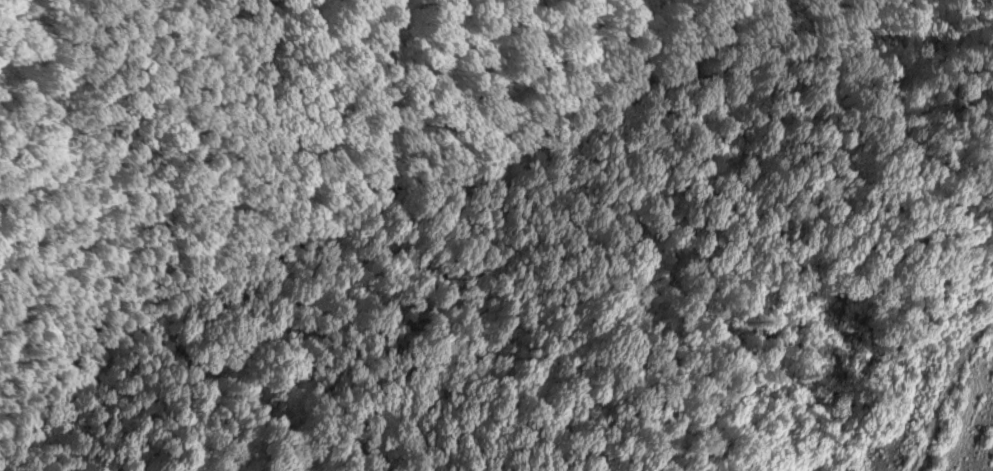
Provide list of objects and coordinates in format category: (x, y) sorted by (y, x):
quarry: (959, 418)

